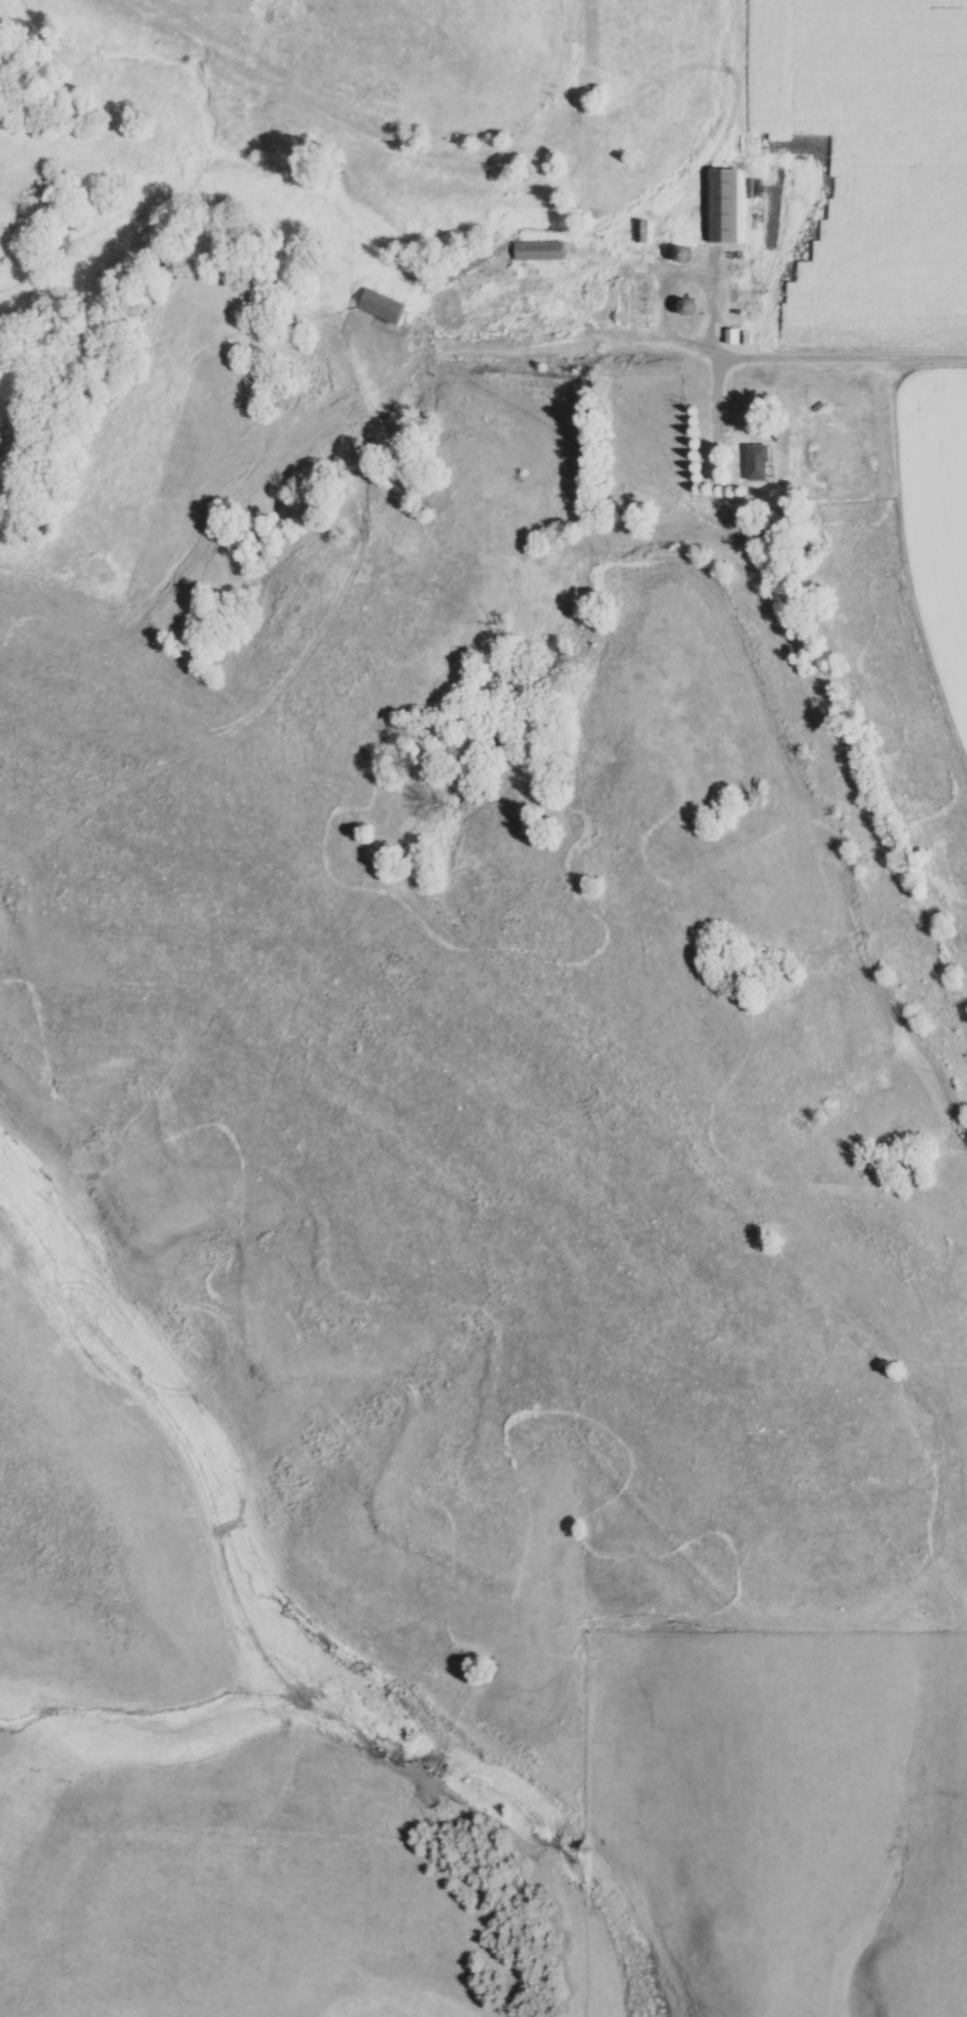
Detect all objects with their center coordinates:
crop: (860, 170)
road: (689, 276)
road: (841, 356)

